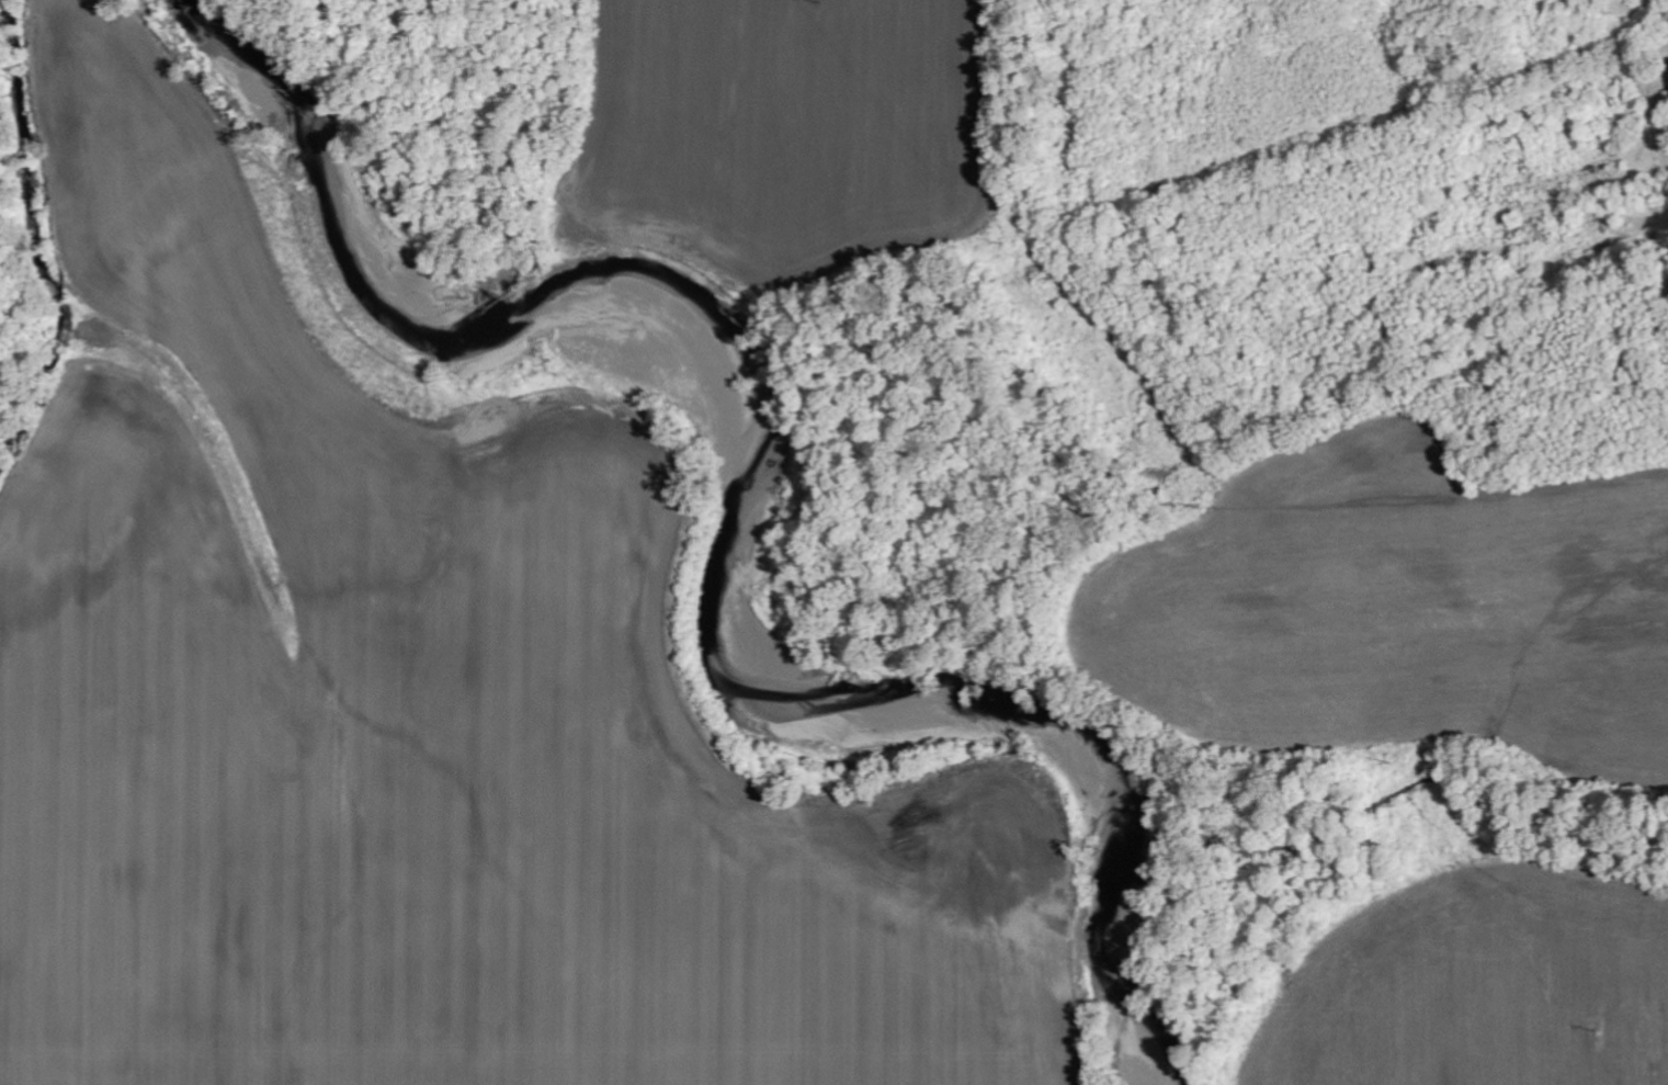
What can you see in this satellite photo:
road: (1653, 139)

